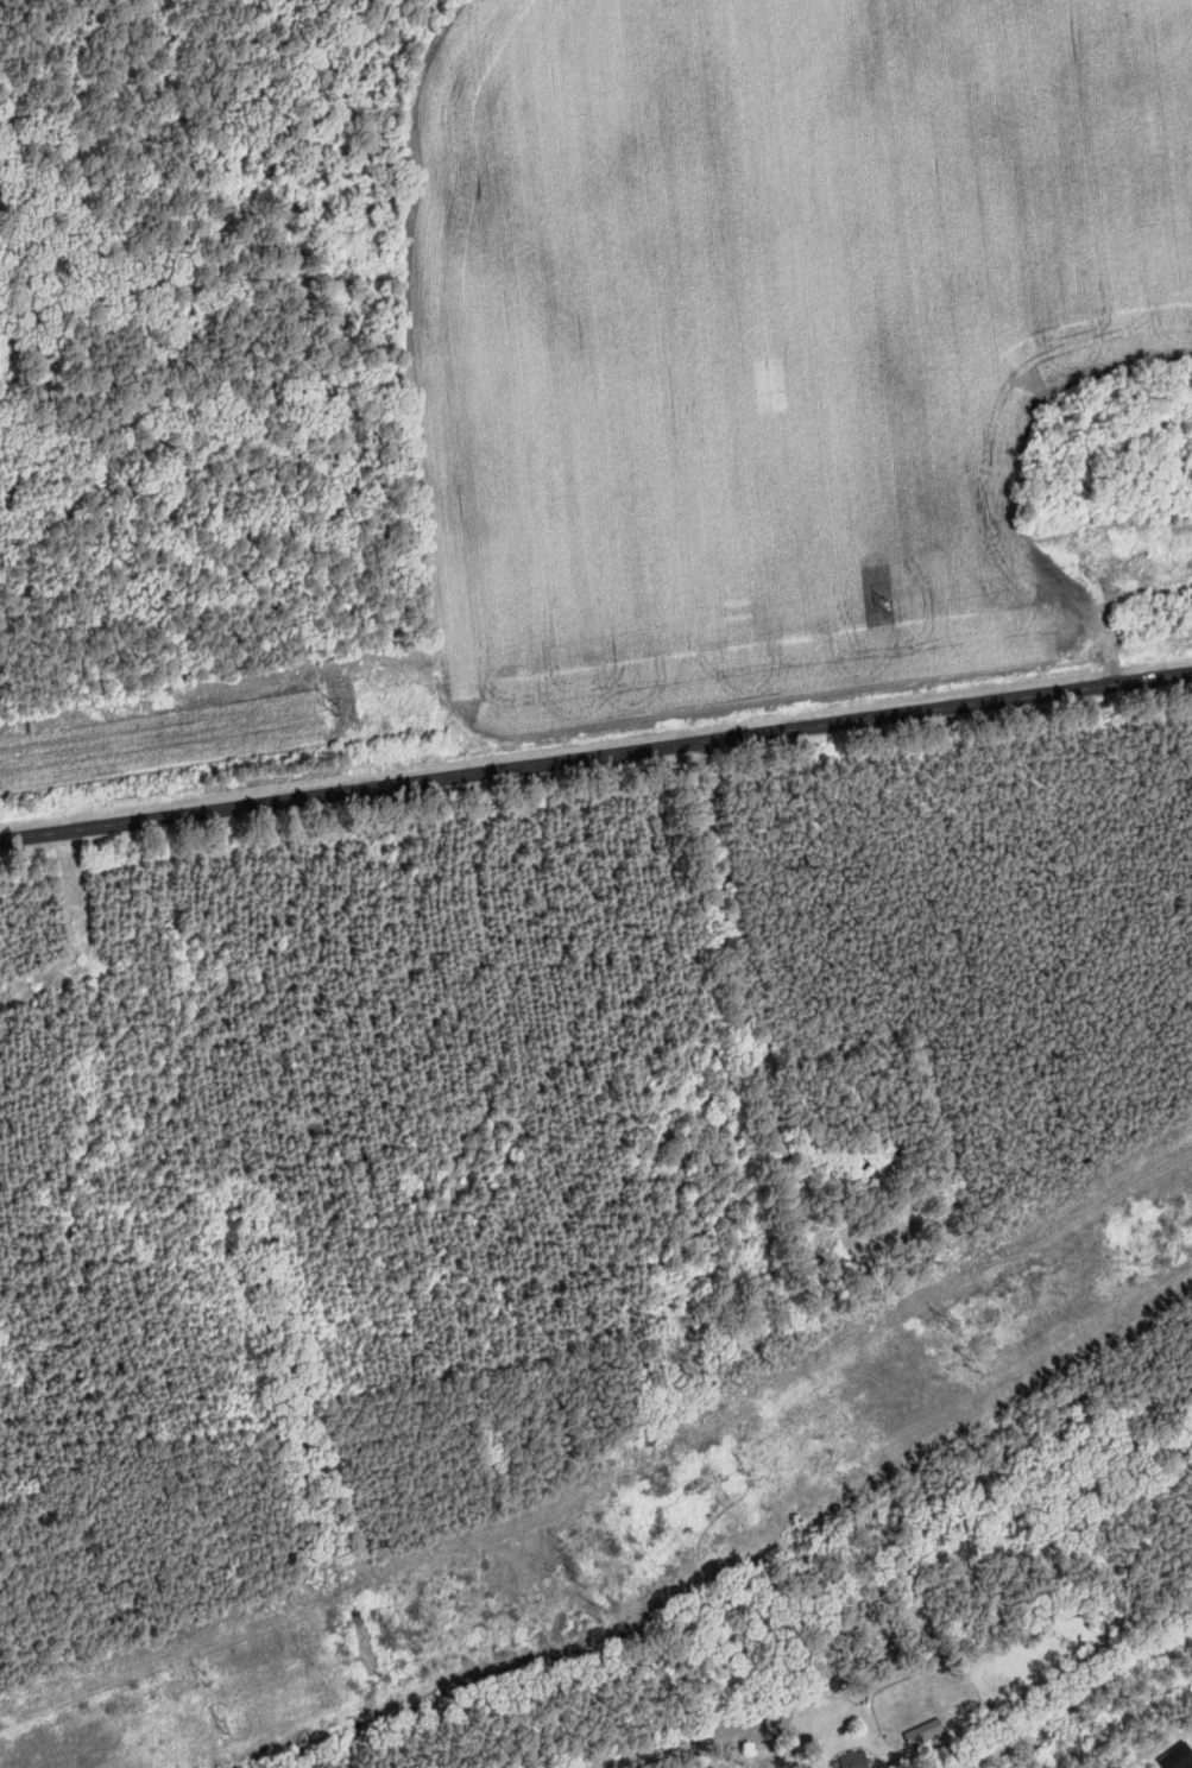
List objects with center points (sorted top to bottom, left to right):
power tower: (889, 605)
power tower: (335, 706)
road: (595, 758)
building: (882, 1157)
power tower: (945, 1319)
power tower: (975, 1359)
power tower: (567, 1554)
power tower: (594, 1600)
power tower: (208, 1680)
power tower: (229, 1722)
road: (700, 1734)

